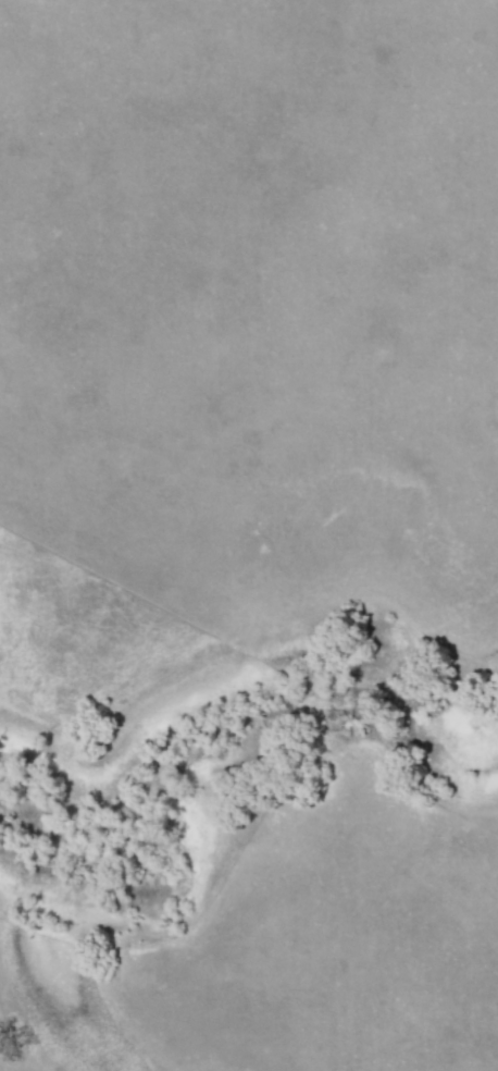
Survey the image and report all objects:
crop: (22, 1041)

